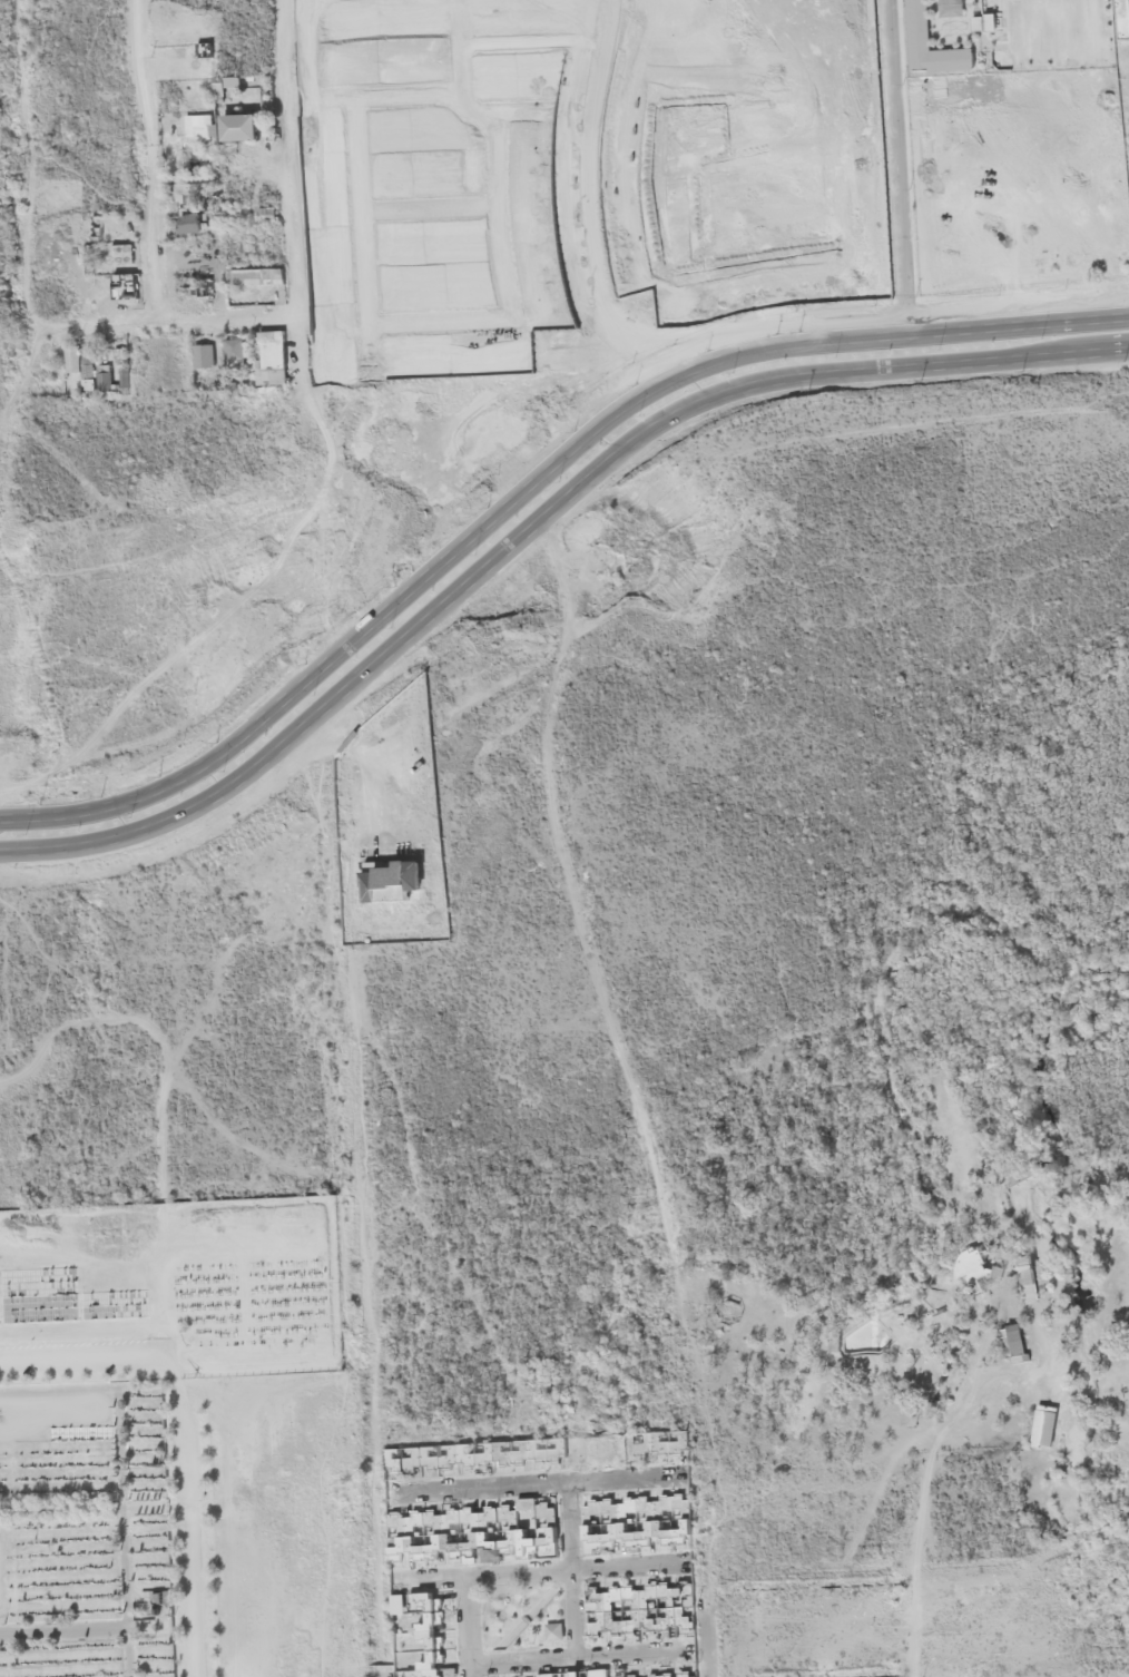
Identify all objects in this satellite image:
park: (132, 1394)

